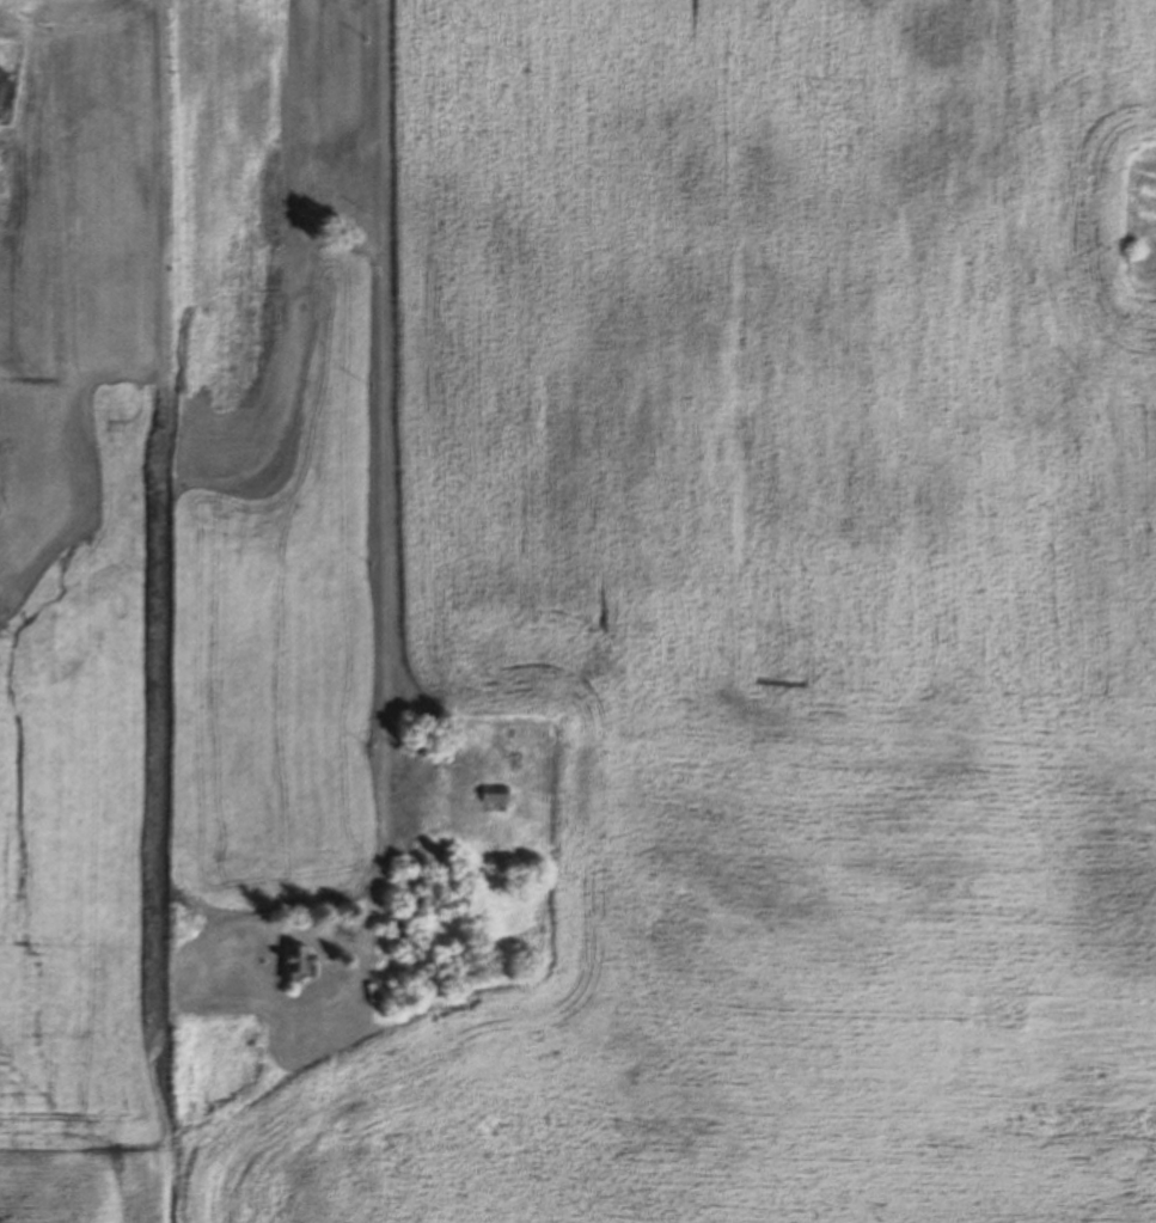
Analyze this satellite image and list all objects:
road: (387, 484)
building: (490, 793)
building: (435, 856)
building: (292, 960)

